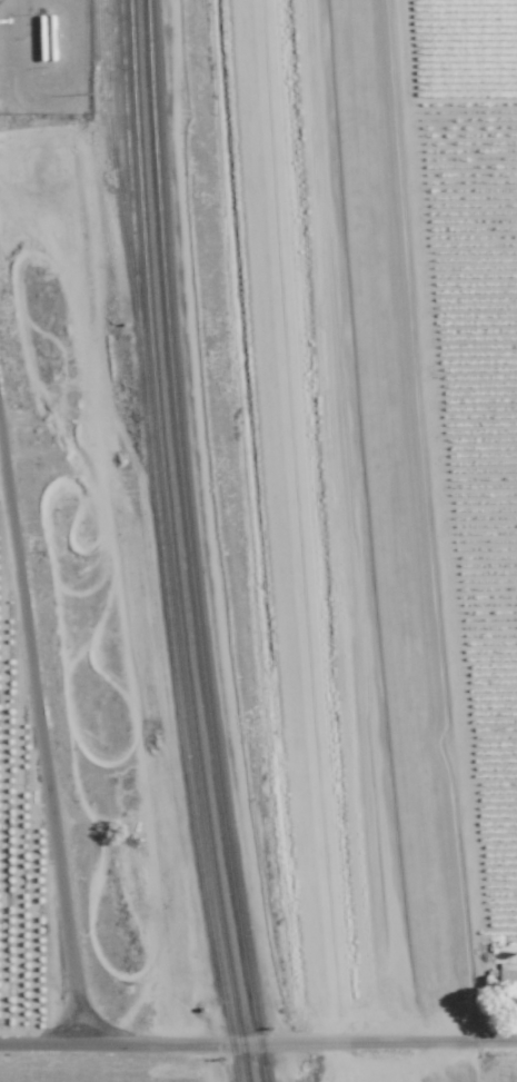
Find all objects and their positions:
railway: (110, 80)
railway: (112, 149)
railway: (291, 540)
railway: (304, 540)
railway: (355, 540)
railway: (384, 540)
railway: (330, 542)
railway: (162, 543)
railway: (172, 543)
railway: (190, 543)
road: (34, 753)
building: (509, 974)
road: (93, 1038)
road: (493, 1041)
crop: (92, 1060)

